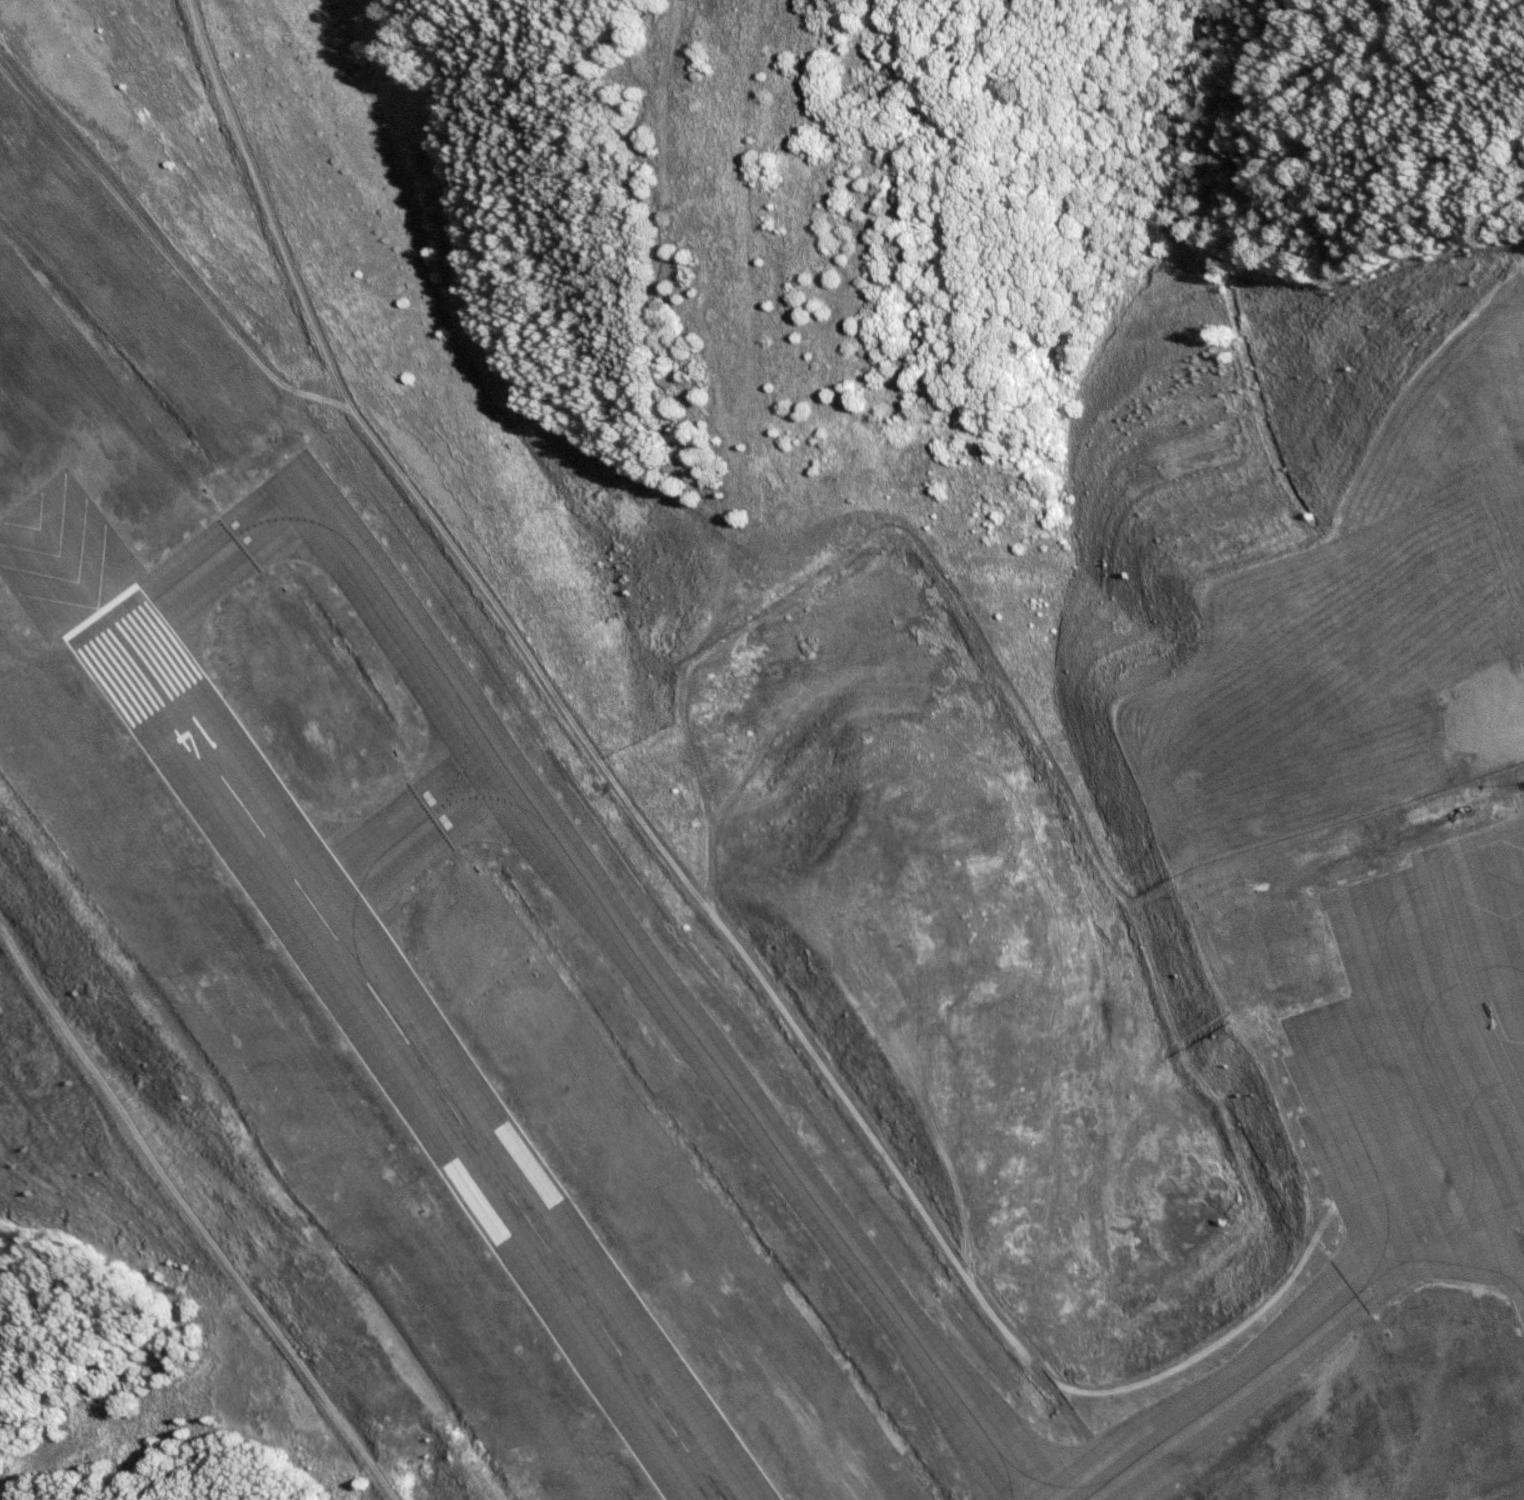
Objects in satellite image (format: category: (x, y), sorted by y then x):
airport taxiway: (459, 755)
airport taxiway: (488, 798)
airport: (734, 870)
airport taxiway: (580, 877)
airport taxiway: (337, 880)
airport runway: (390, 1056)
airport apron: (1423, 1057)
airport taxiway: (1465, 1136)
airport taxiway: (1395, 1207)
airport taxiway: (1465, 1267)
airport taxiway: (1286, 1345)
airport taxiway: (985, 1475)
airport taxiway: (1029, 1485)

